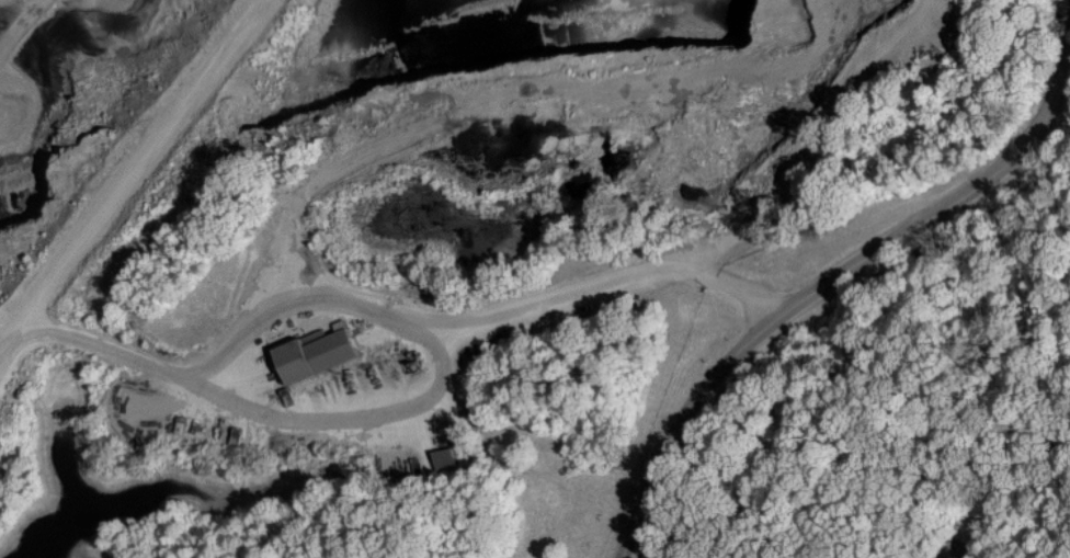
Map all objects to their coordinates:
road: (1049, 111)
road: (785, 319)
building: (322, 351)
road: (1055, 364)
building: (449, 457)

